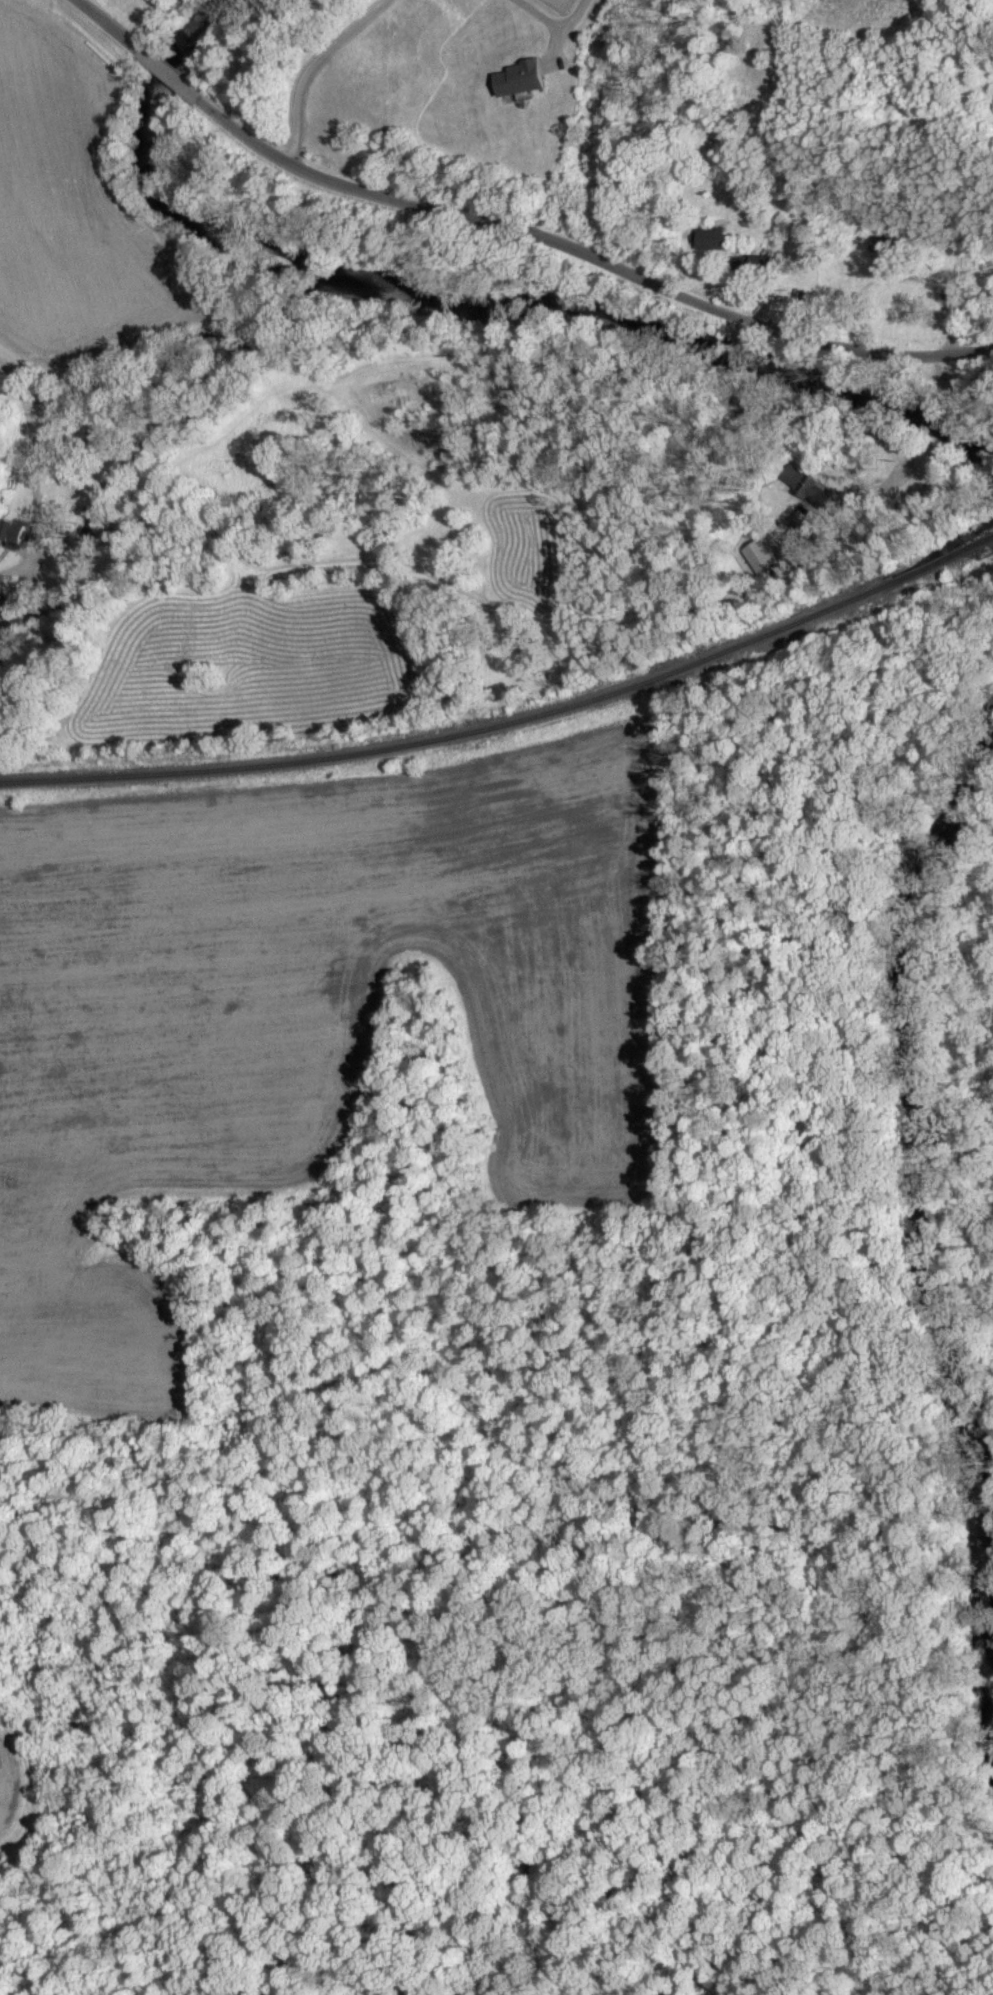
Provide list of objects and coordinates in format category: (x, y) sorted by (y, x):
road: (109, 23)
road: (555, 24)
road: (310, 67)
road: (168, 71)
building: (525, 79)
building: (712, 239)
building: (883, 246)
road: (587, 249)
road: (32, 463)
building: (16, 534)
railway: (948, 561)
railway: (809, 618)
railway: (363, 752)

